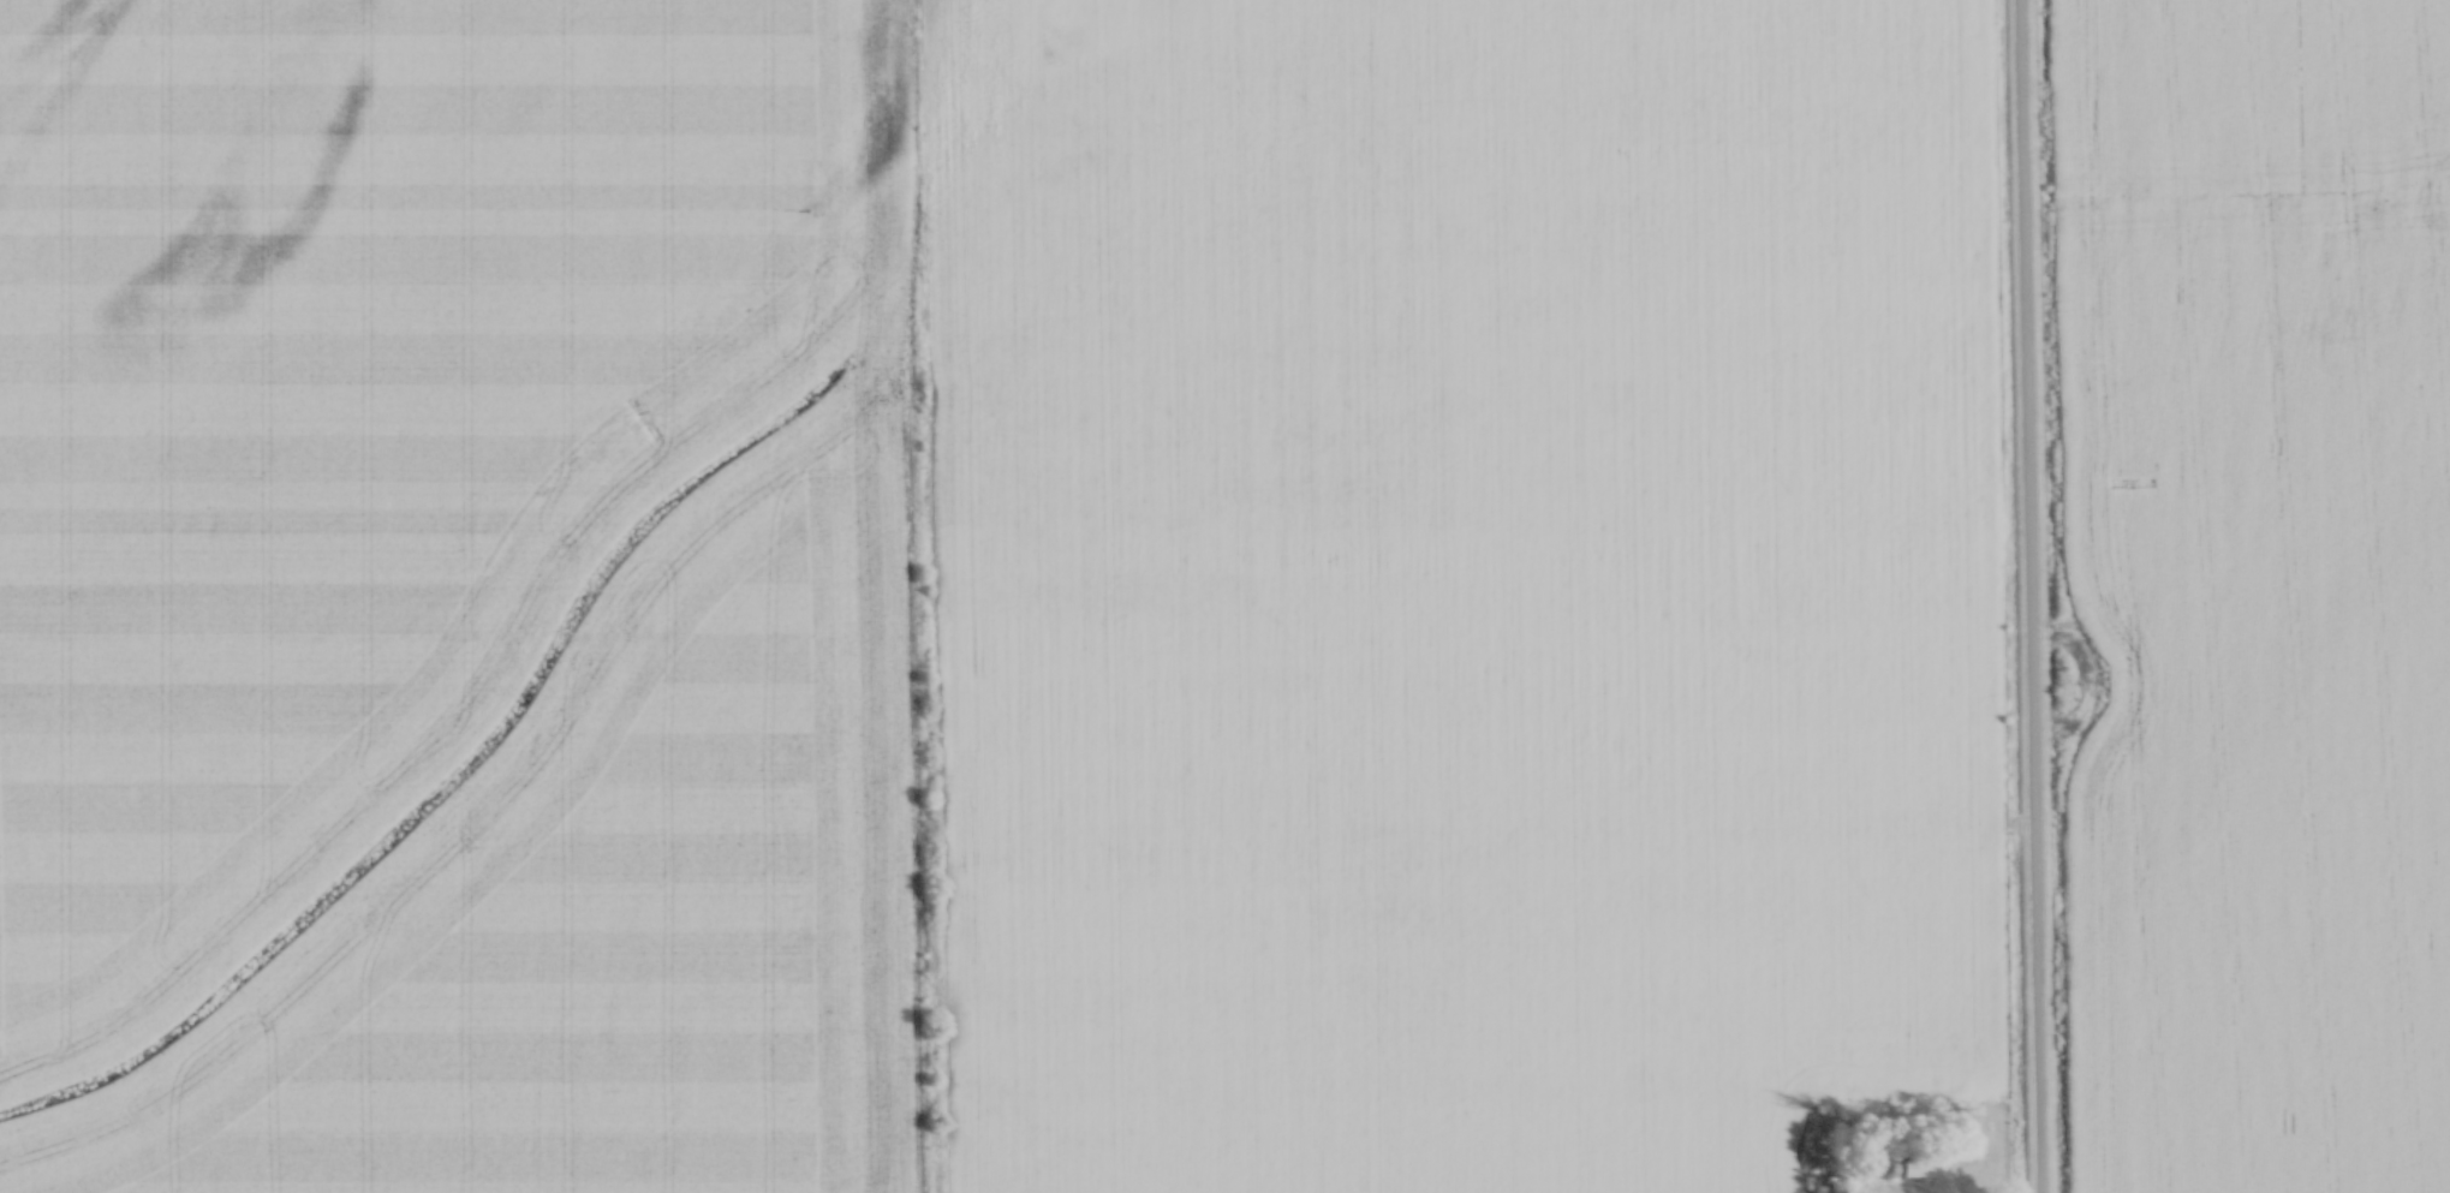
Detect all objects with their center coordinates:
road: (2028, 596)
building: (1920, 1165)
building: (1884, 1167)

